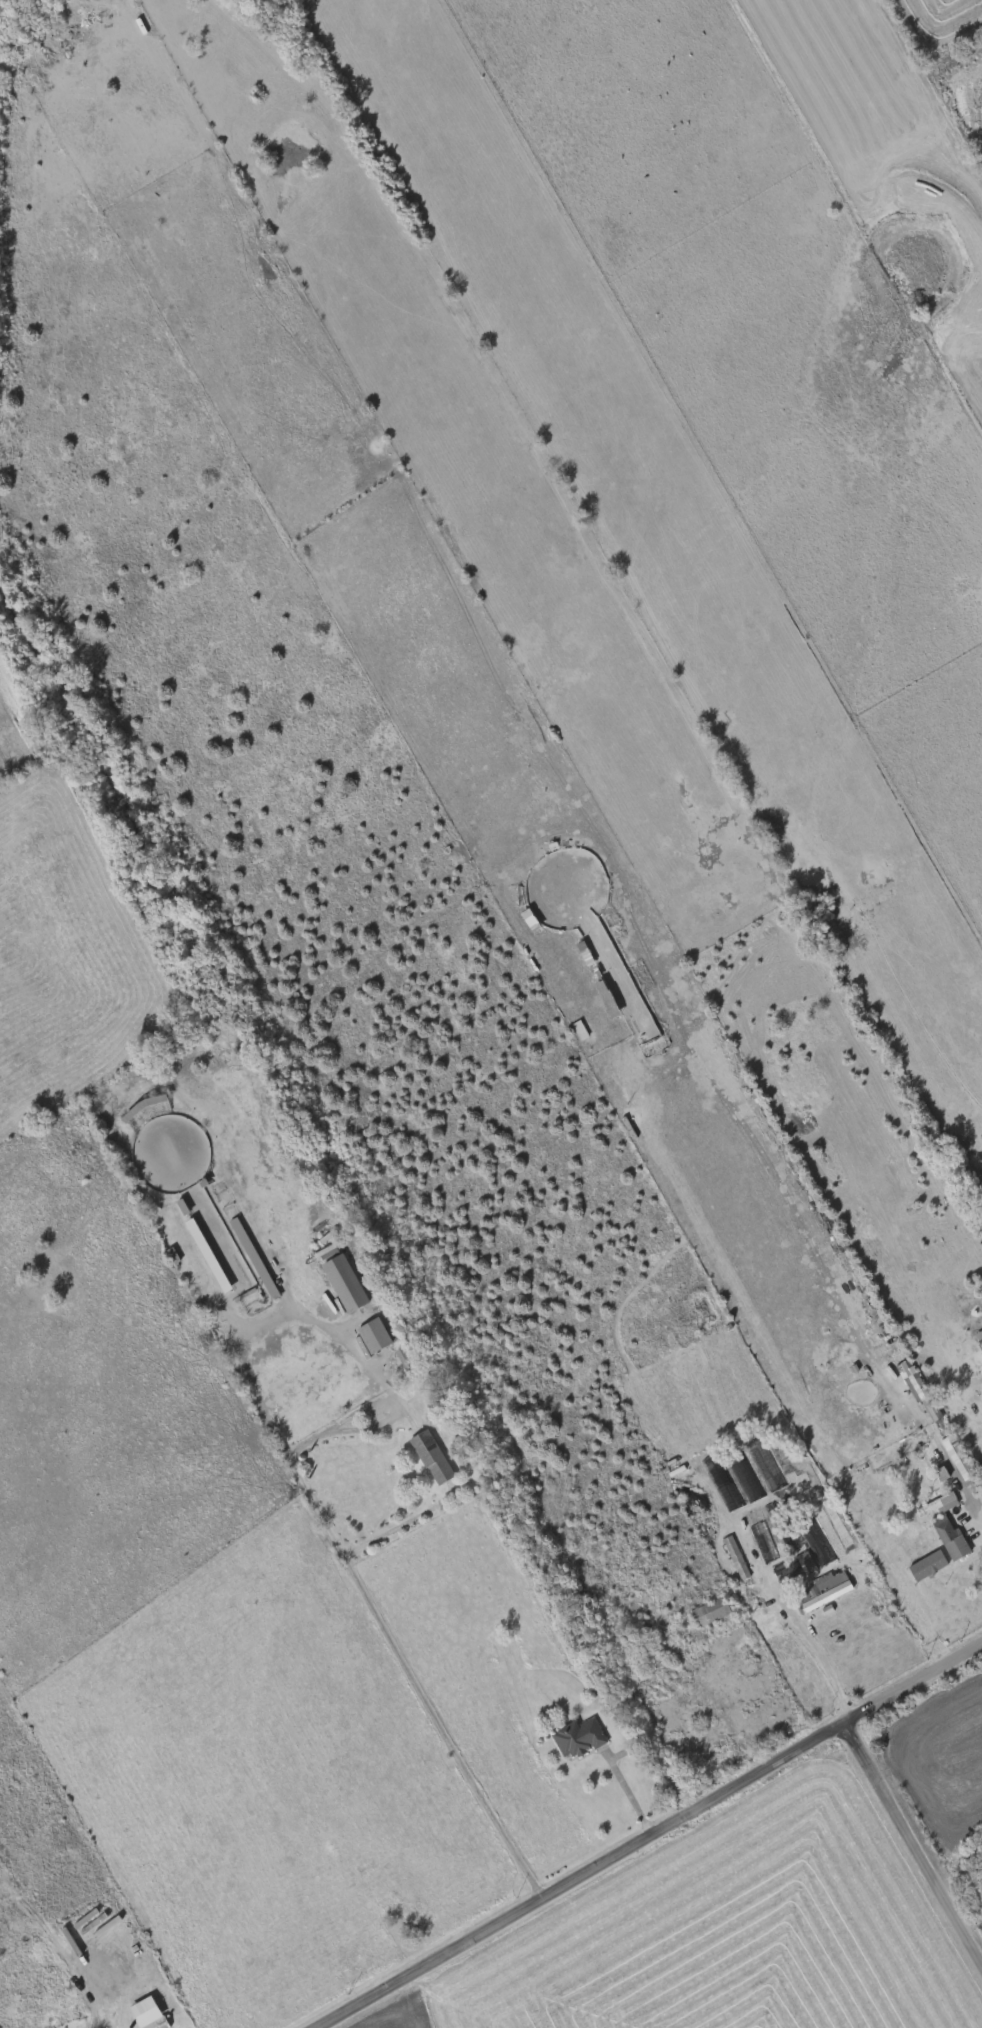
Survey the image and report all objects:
building: (580, 1031)
building: (144, 1109)
building: (208, 1256)
building: (256, 1261)
building: (343, 1281)
building: (373, 1334)
building: (979, 1335)
building: (406, 1356)
building: (915, 1386)
building: (430, 1454)
building: (960, 1459)
road: (968, 1496)
building: (938, 1503)
road: (409, 1524)
building: (759, 1535)
building: (814, 1535)
building: (949, 1536)
building: (736, 1558)
building: (928, 1566)
building: (792, 1568)
building: (824, 1587)
building: (709, 1610)
road: (813, 1642)
road: (414, 1685)
building: (578, 1736)
road: (629, 1793)
road: (652, 1839)
road: (913, 1845)
building: (146, 2013)

